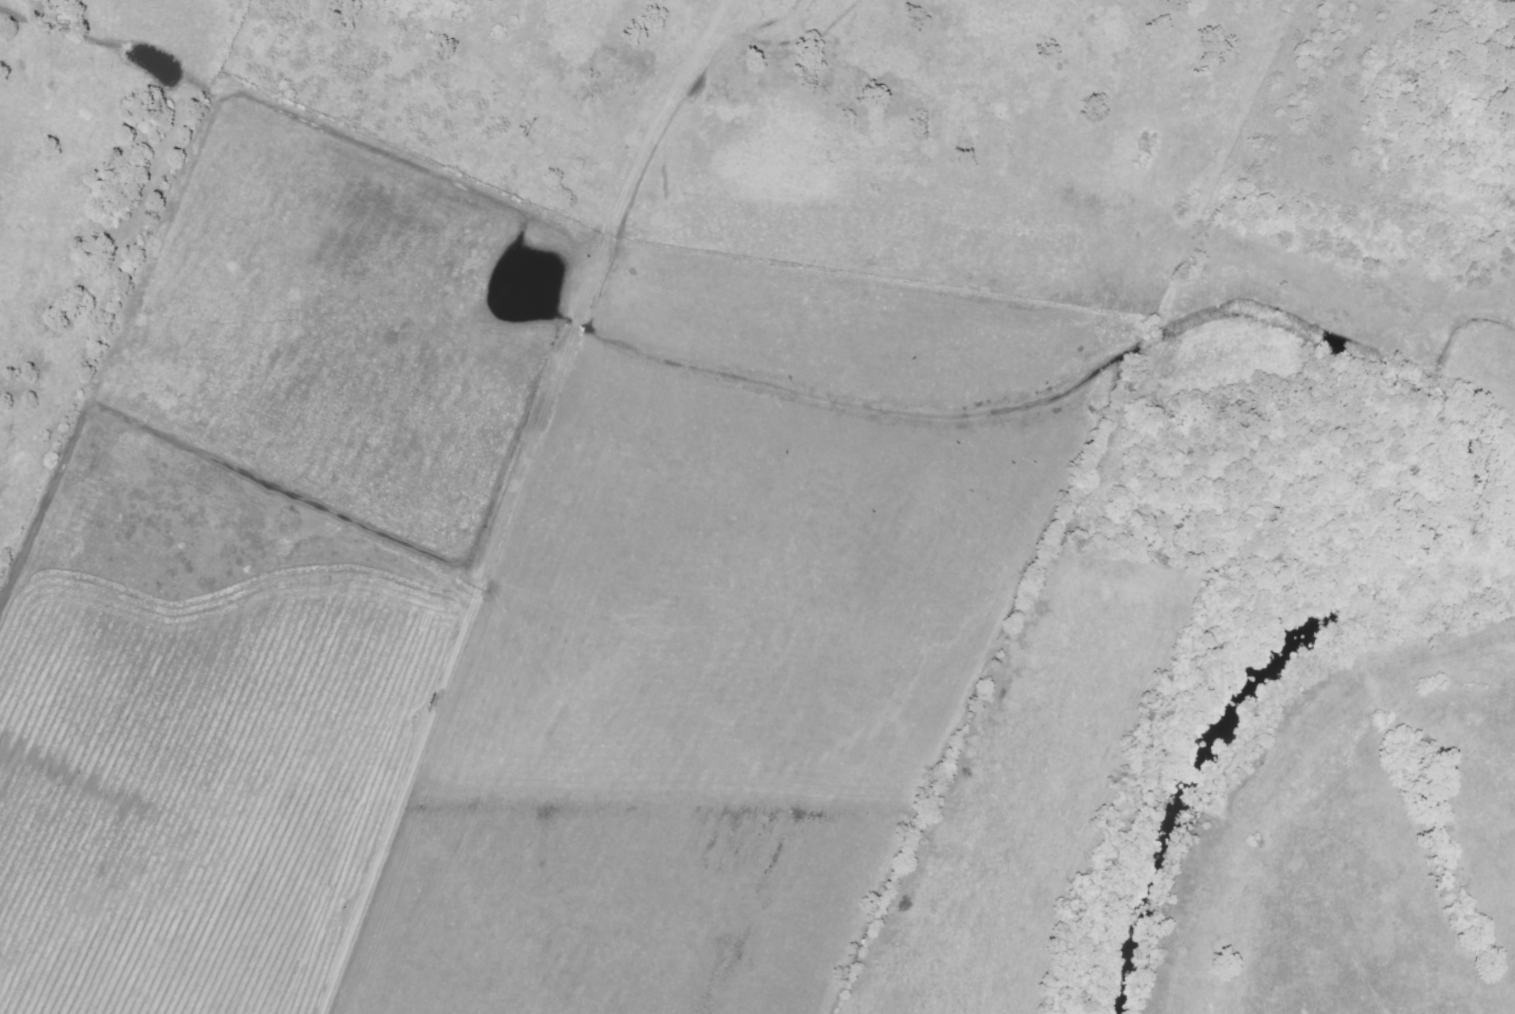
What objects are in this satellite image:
road: (503, 507)

